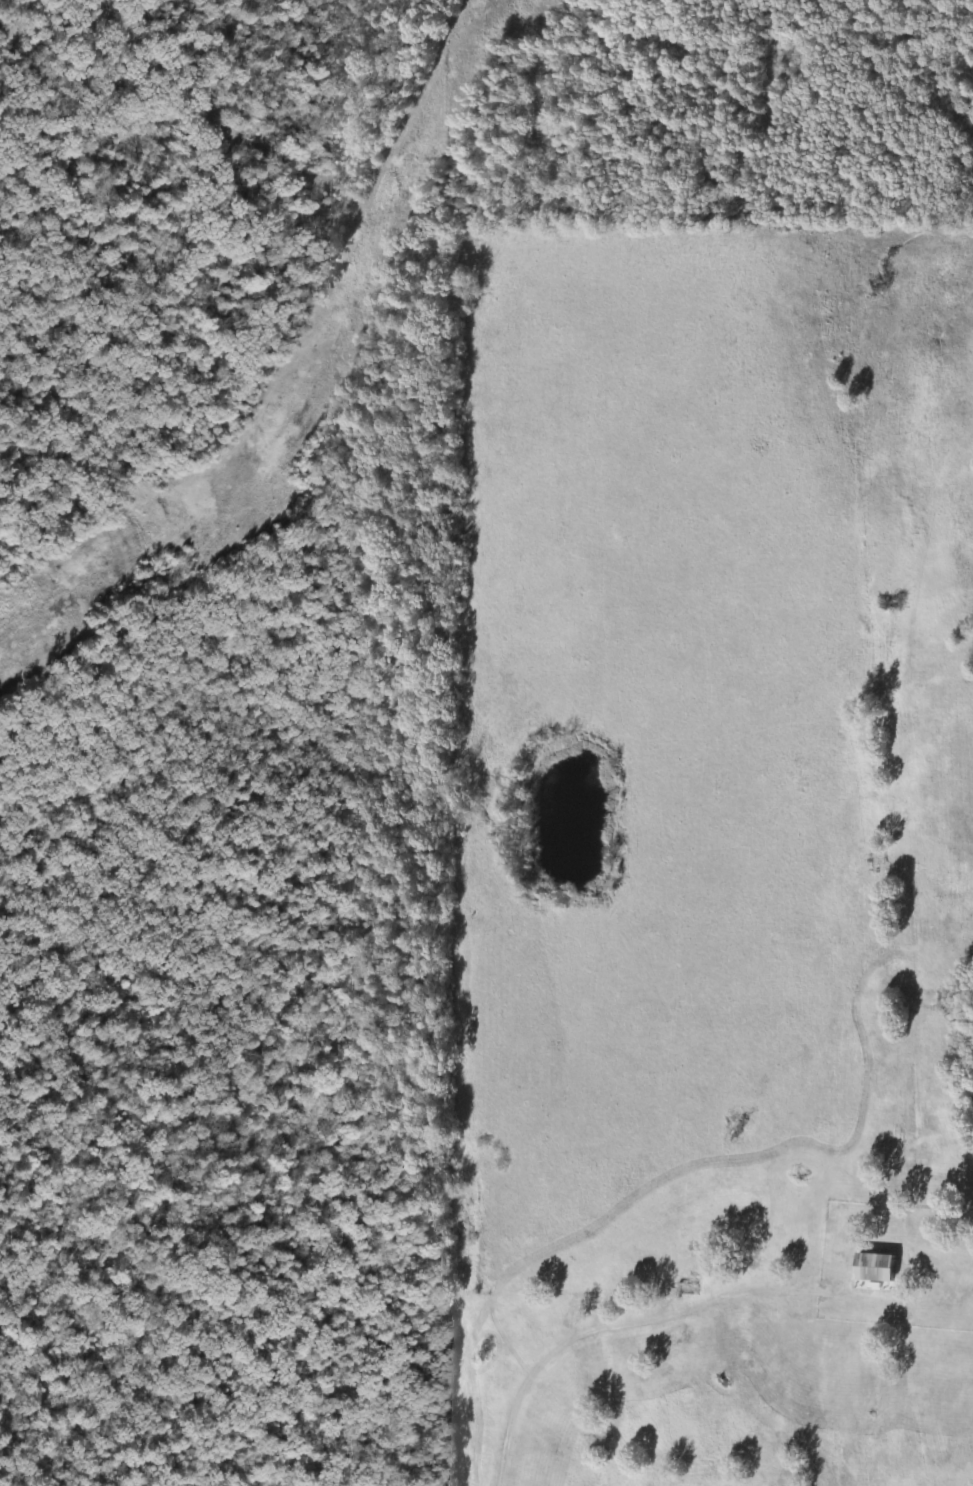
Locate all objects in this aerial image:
building: (875, 1267)

